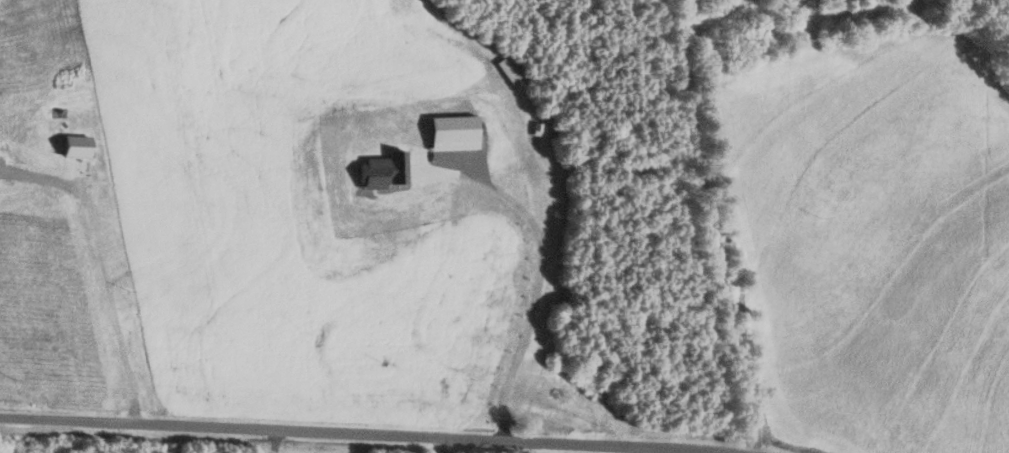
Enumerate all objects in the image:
road: (716, 15)
road: (715, 222)
road: (376, 432)

